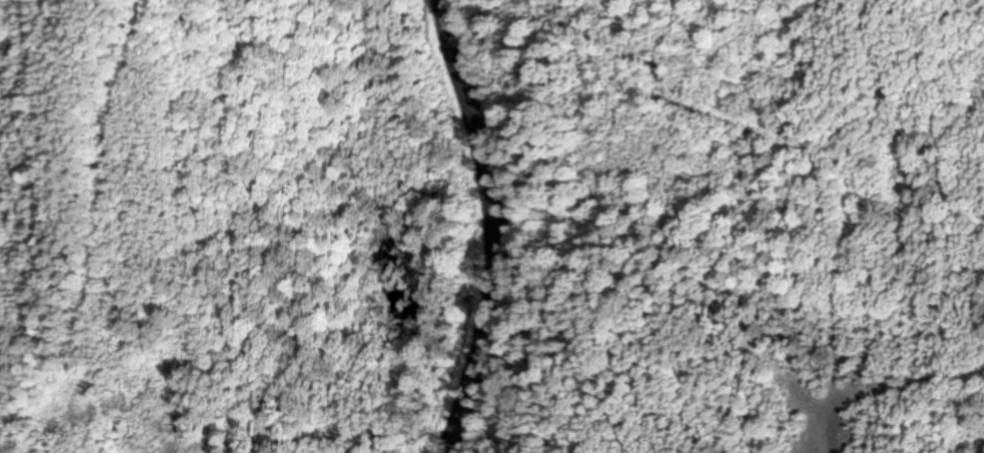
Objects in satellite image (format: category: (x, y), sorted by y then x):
quarry: (486, 223)
road: (498, 226)

